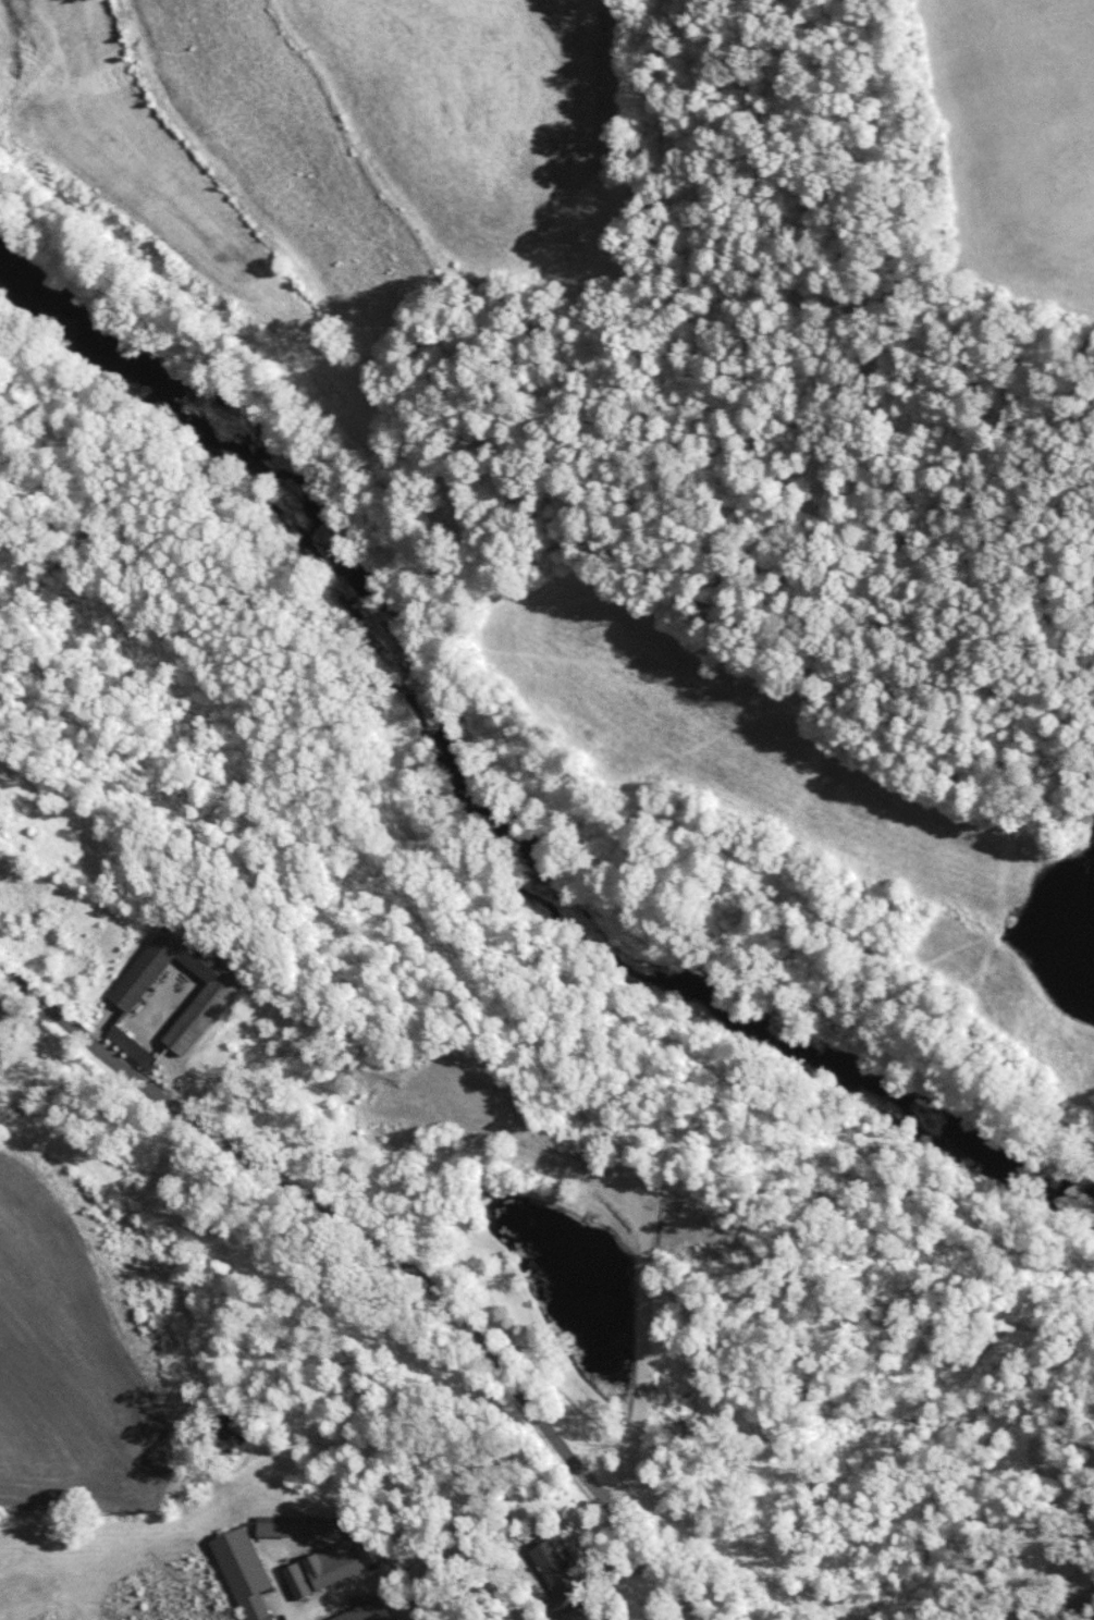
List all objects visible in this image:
river: (470, 794)
building: (134, 1046)
road: (184, 1097)
road: (538, 1419)
building: (256, 1562)
building: (334, 1562)
building: (298, 1580)
road: (1080, 1607)
building: (368, 1611)

